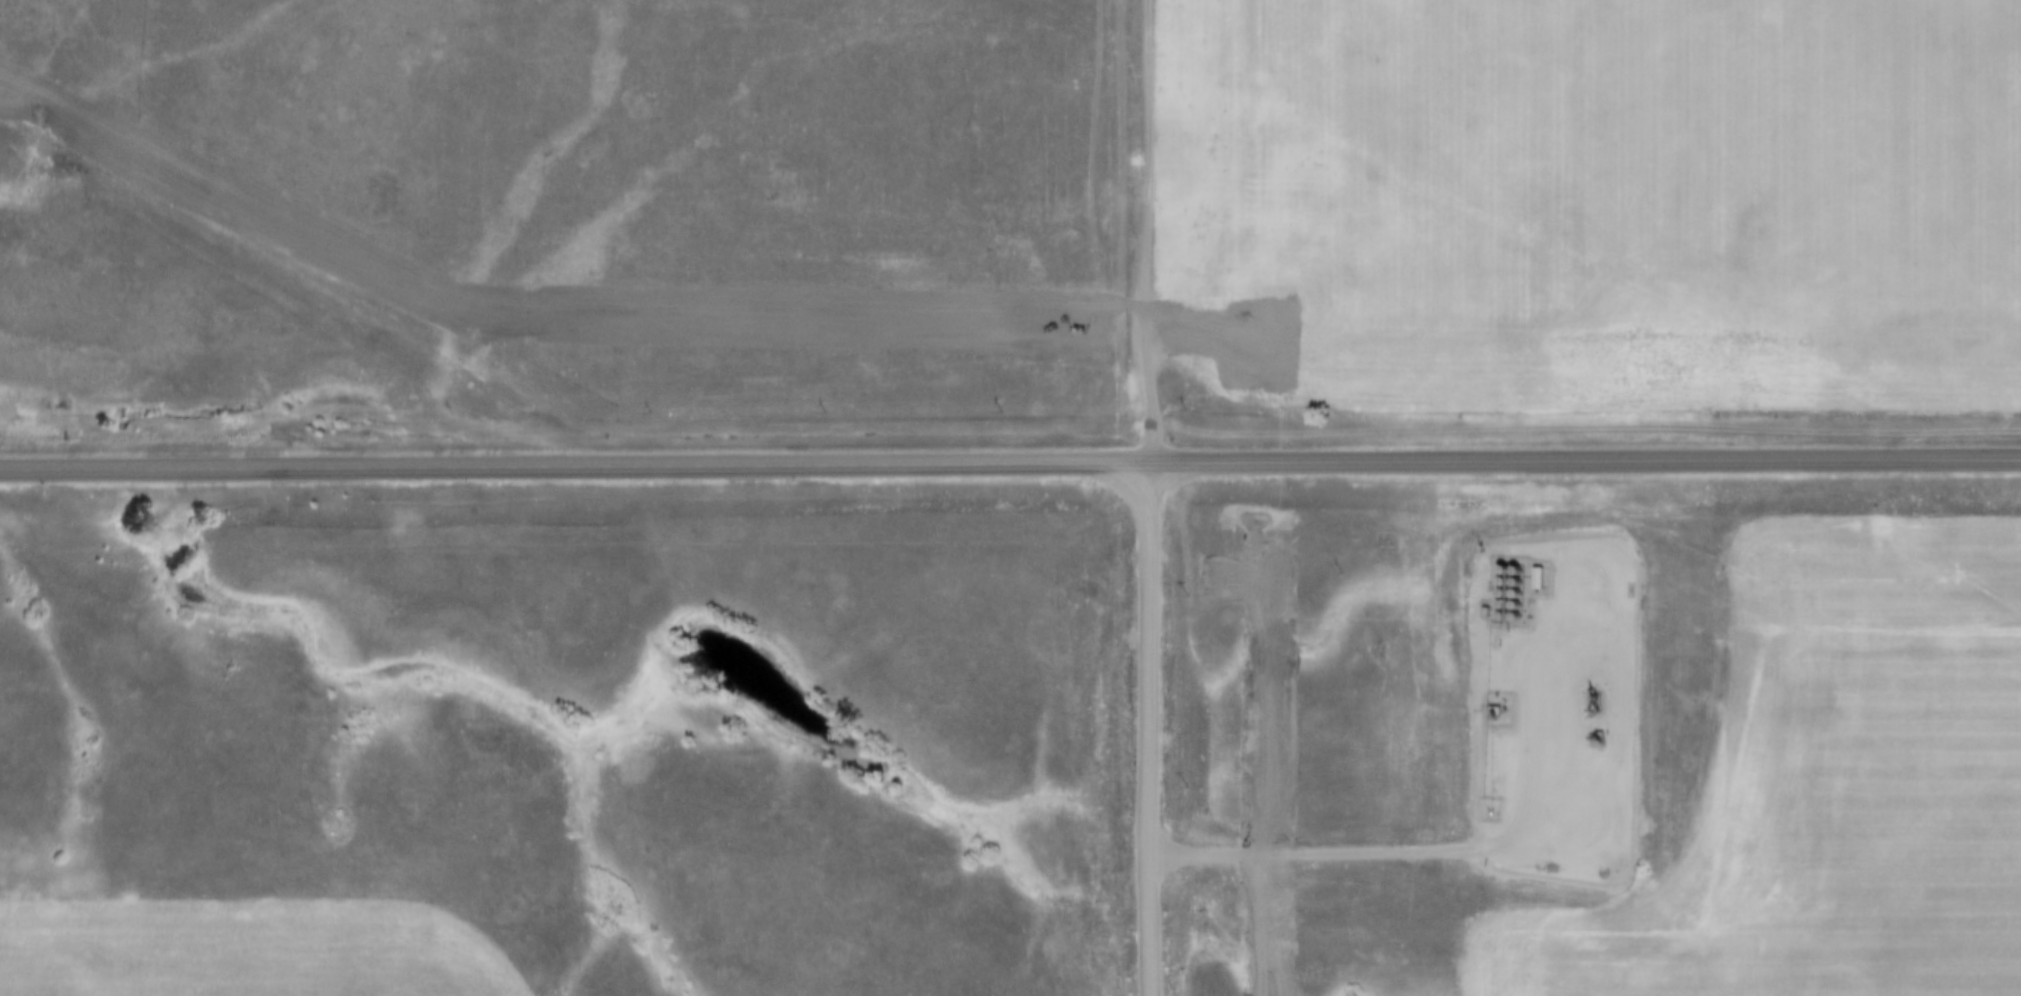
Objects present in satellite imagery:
road: (1146, 232)
road: (1010, 465)
road: (1148, 730)

